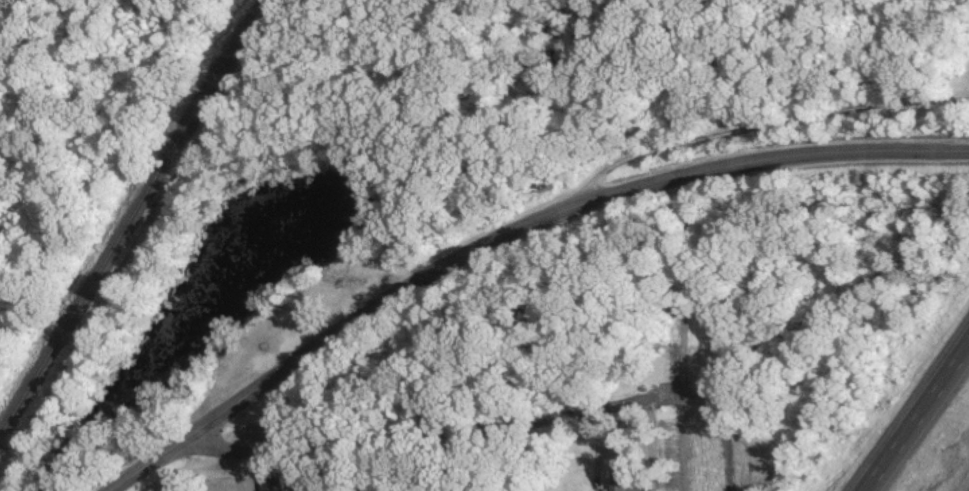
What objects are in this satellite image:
crop: (959, 79)
road: (758, 121)
railway: (126, 218)
road: (511, 233)
crop: (704, 413)
road: (919, 420)
road: (420, 434)
building: (626, 482)
building: (273, 483)

